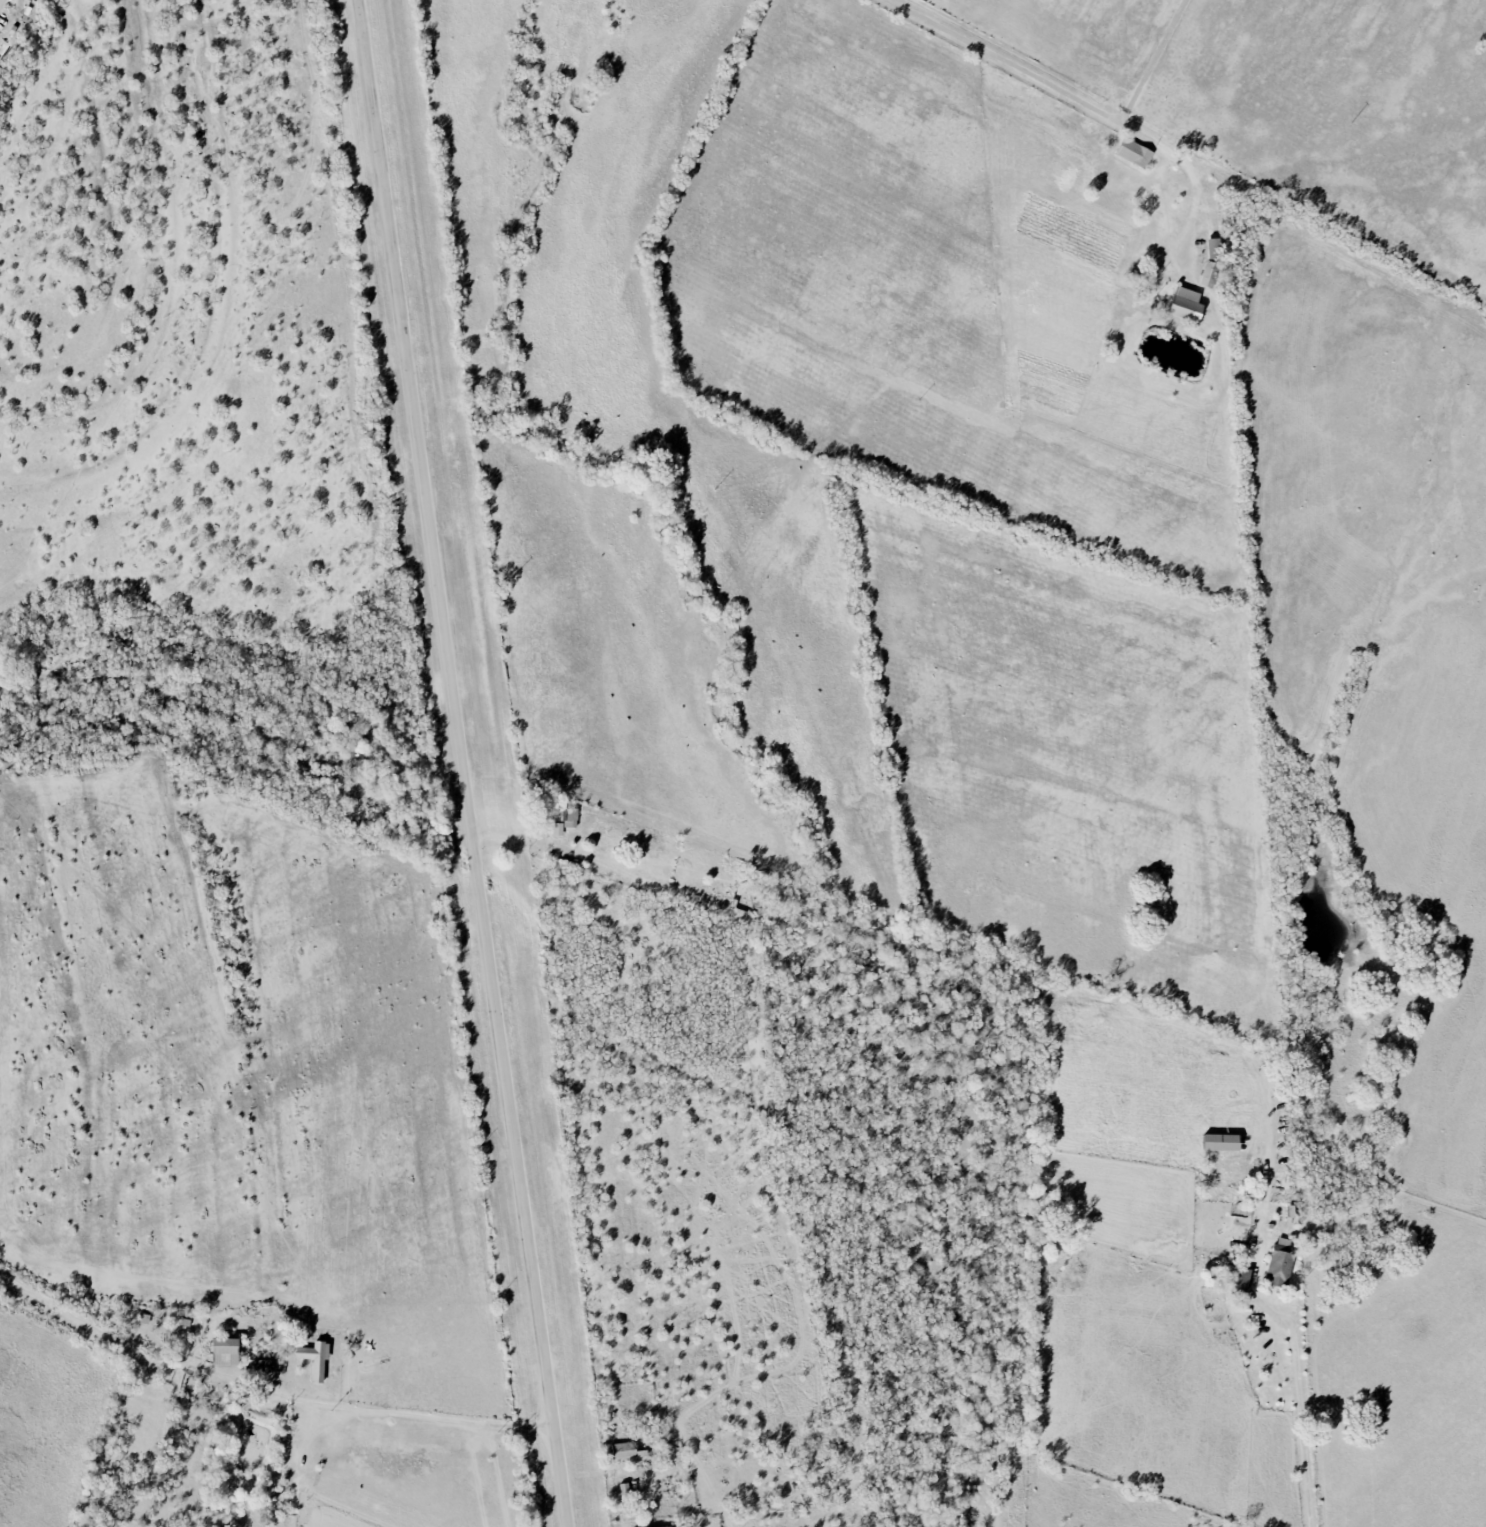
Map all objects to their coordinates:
road: (1155, 57)
road: (1030, 69)
building: (1135, 153)
building: (1214, 249)
building: (1210, 275)
building: (1186, 305)
road: (462, 763)
building: (564, 820)
road: (525, 841)
building: (1221, 1142)
building: (1280, 1262)
building: (1238, 1278)
building: (225, 1351)
building: (315, 1358)
road: (411, 1413)
road: (1306, 1432)
building: (628, 1452)
road: (302, 1454)

